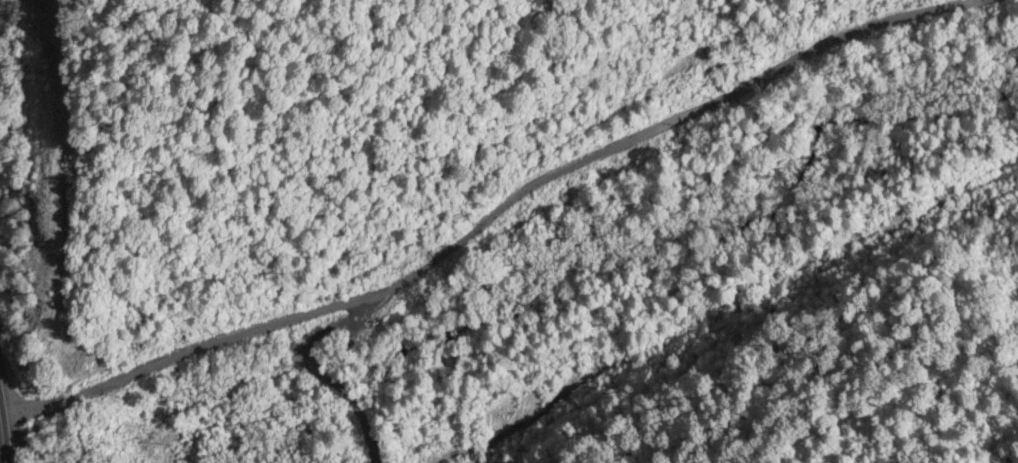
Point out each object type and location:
road: (638, 134)
road: (188, 357)
road: (314, 374)
road: (4, 406)
road: (11, 443)

